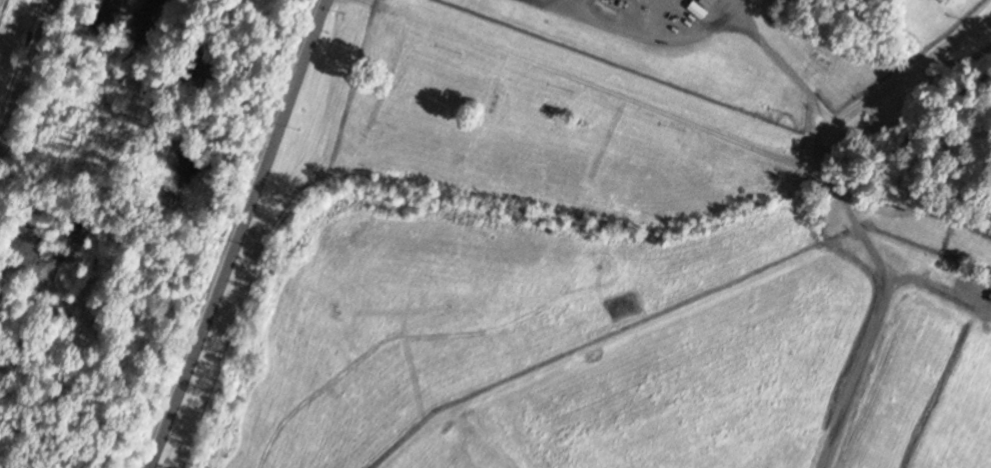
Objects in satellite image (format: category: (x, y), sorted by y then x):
building: (700, 6)
road: (25, 69)
road: (228, 234)
building: (978, 286)

